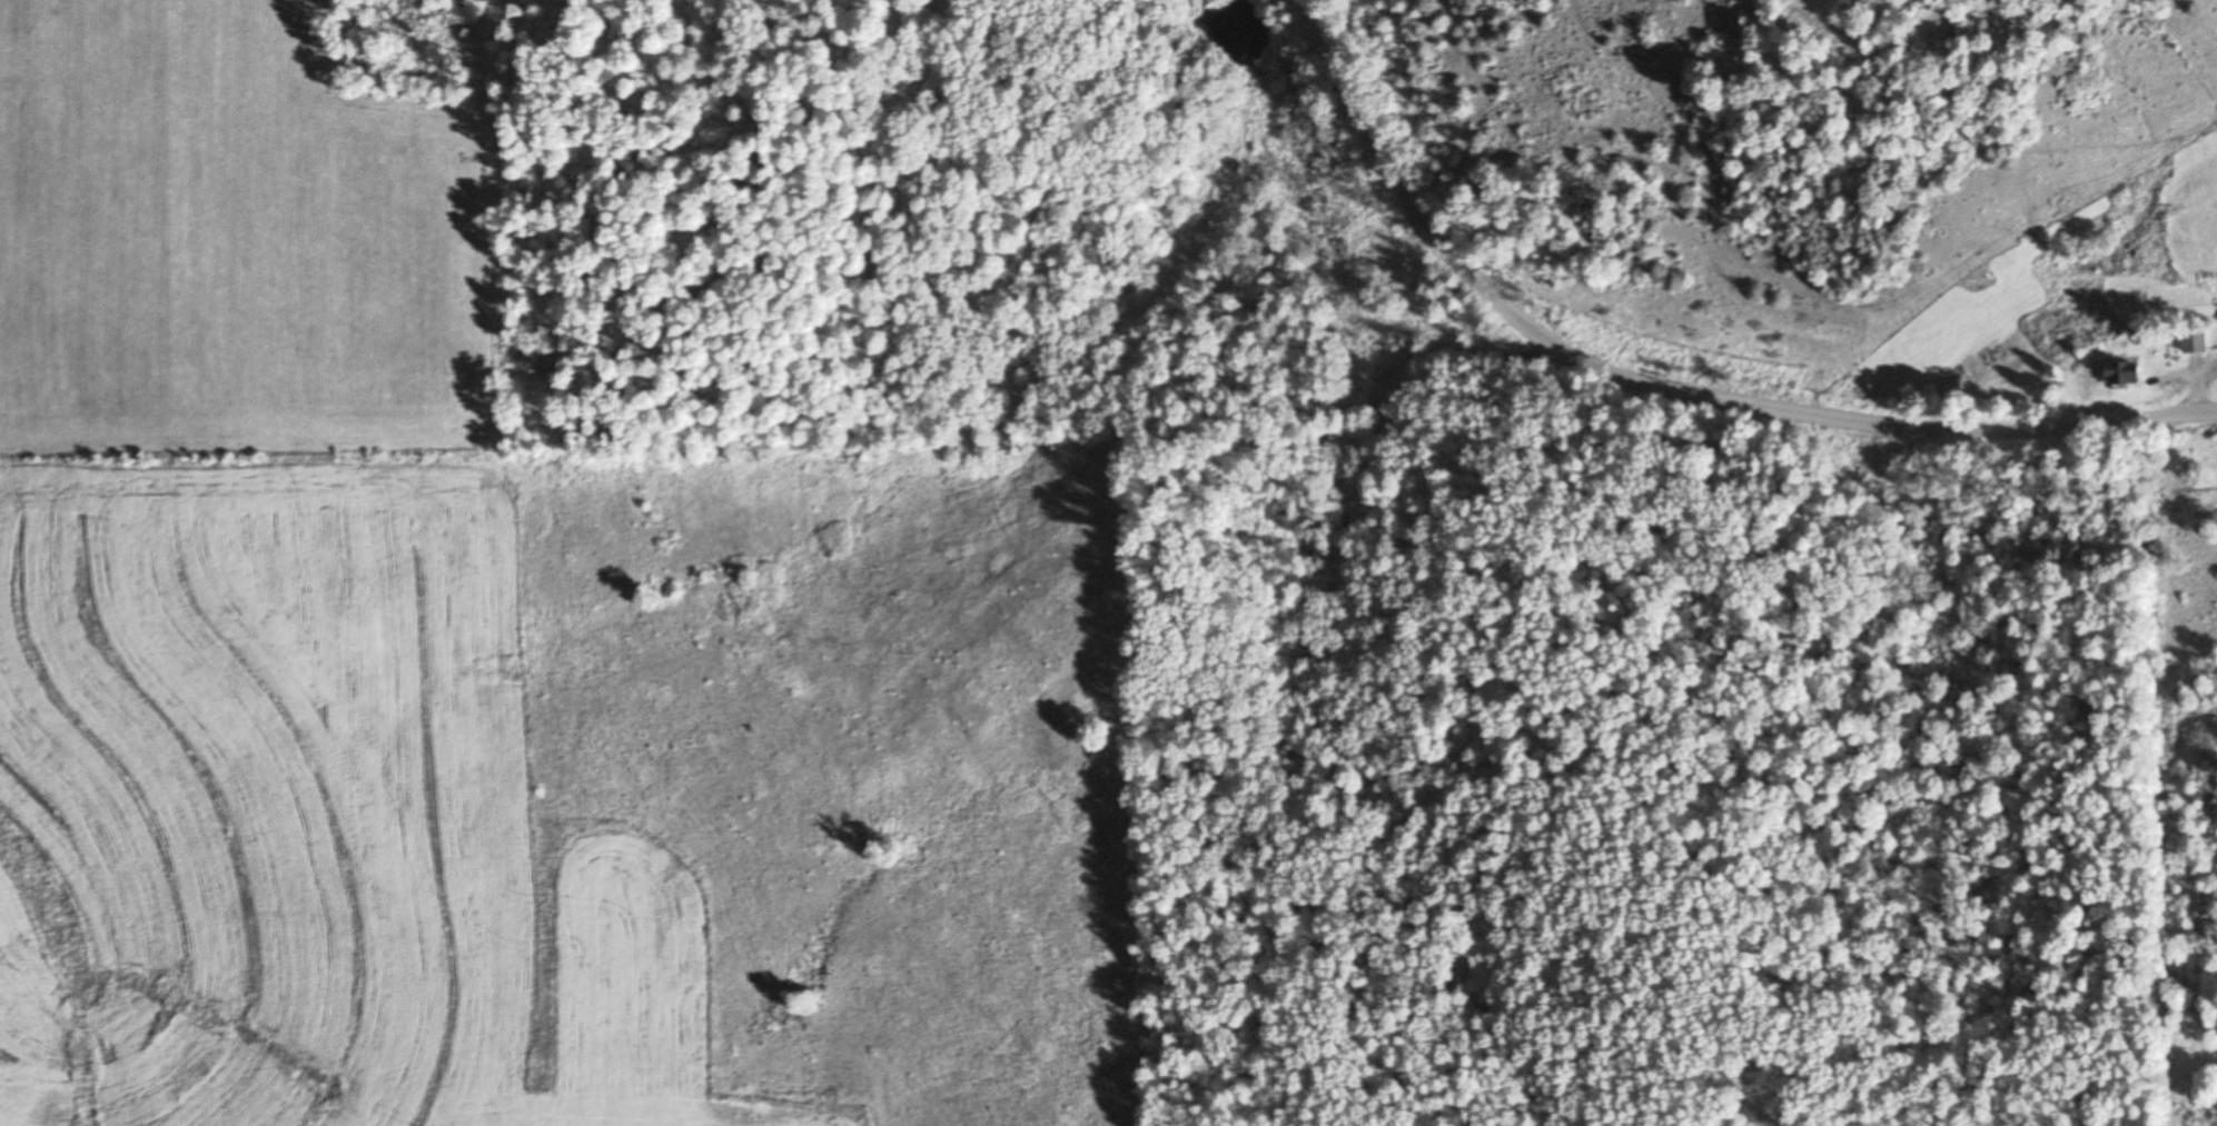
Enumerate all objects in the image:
dam: (1204, 4)
building: (2195, 339)
building: (2127, 373)
road: (1669, 386)

